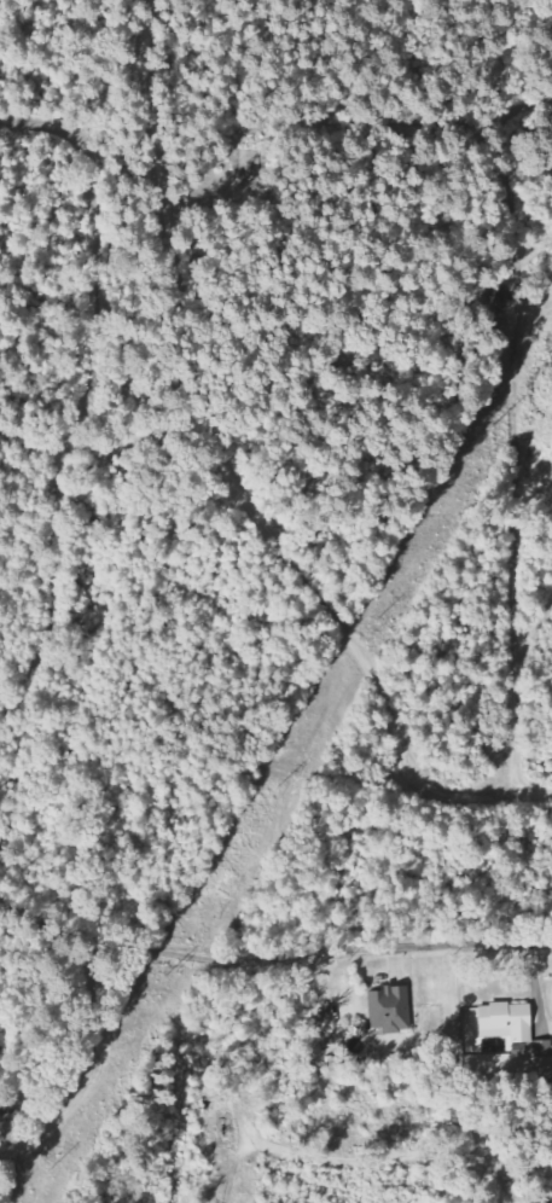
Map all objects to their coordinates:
road: (83, 395)
road: (37, 914)
road: (312, 958)
building: (393, 1007)
building: (511, 1019)

